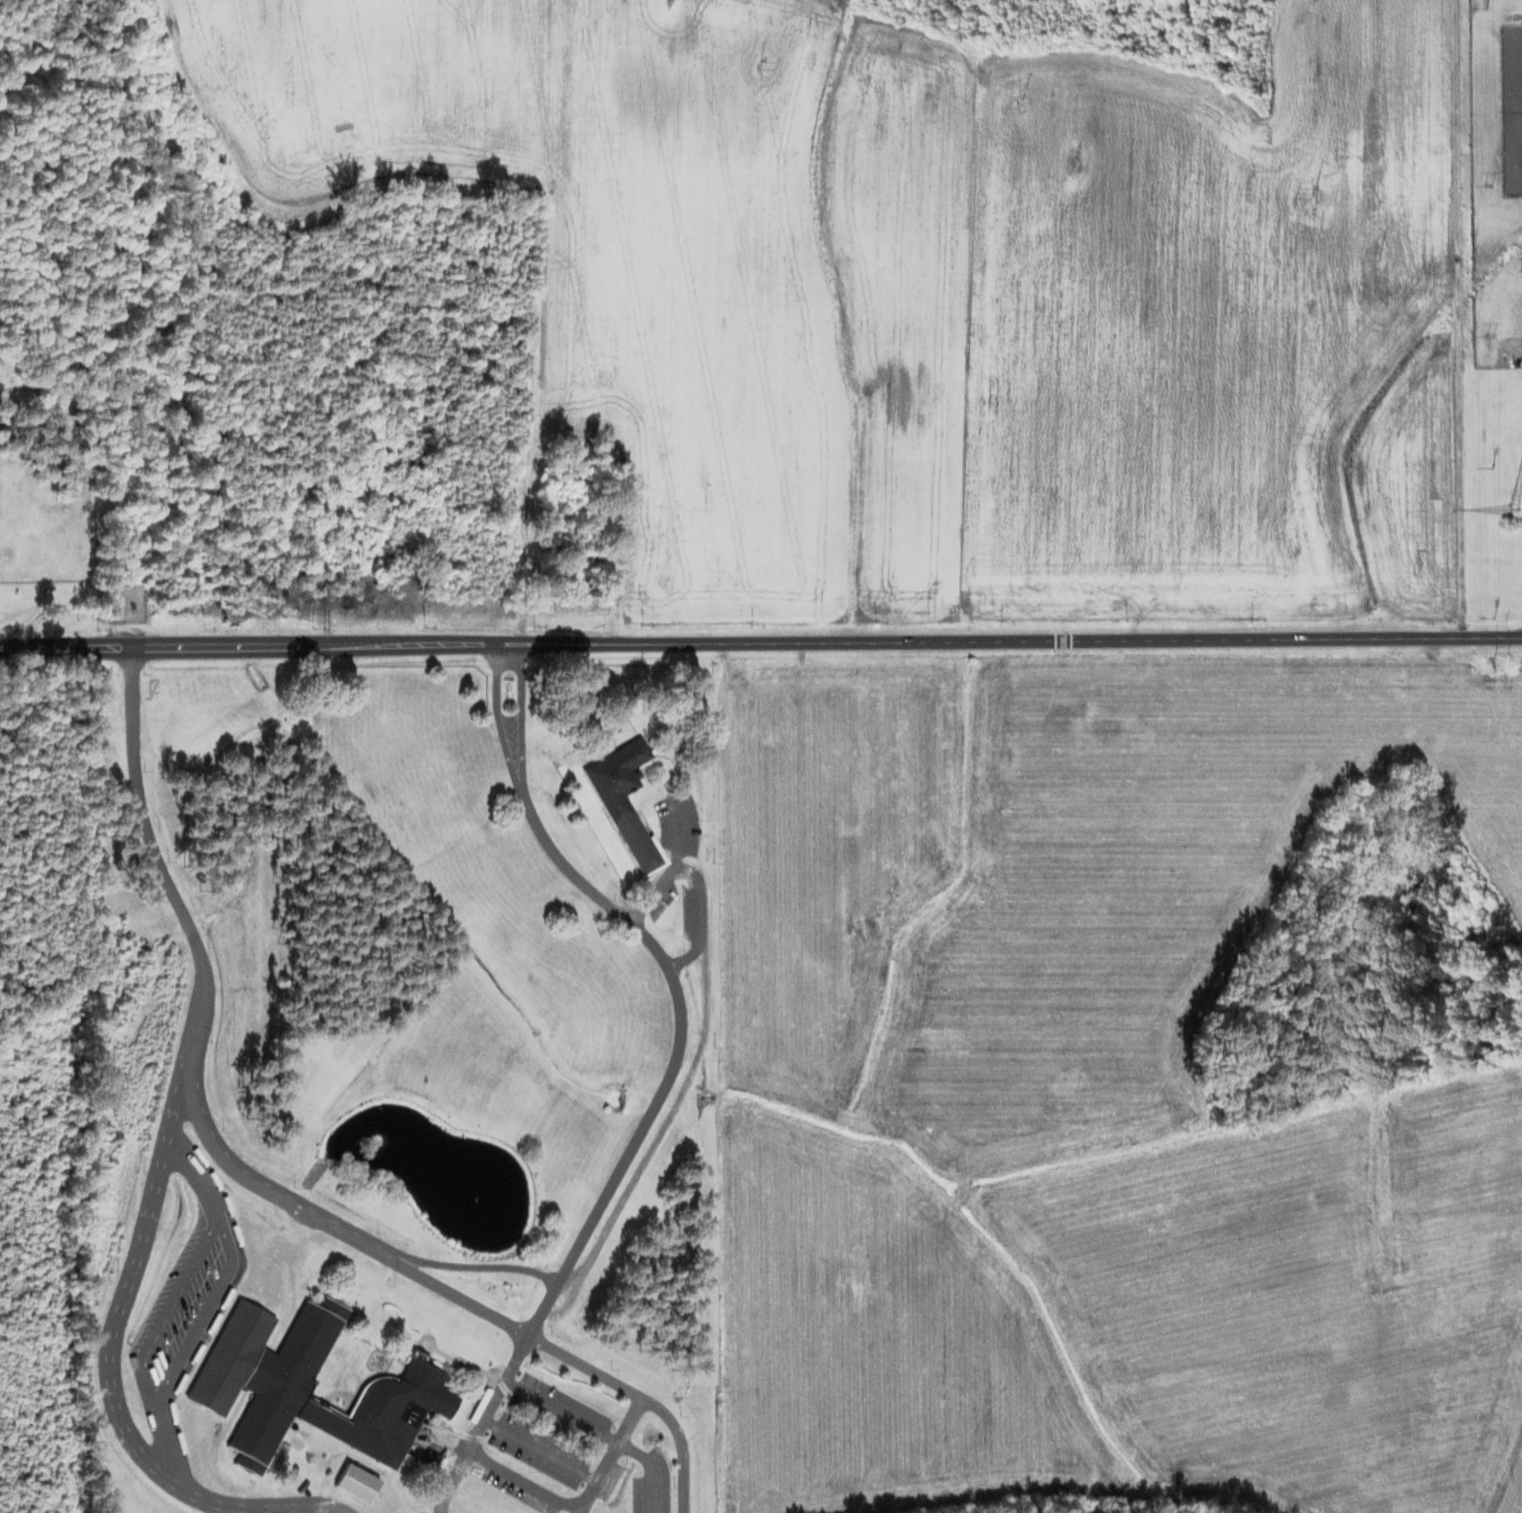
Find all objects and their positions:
power tower: (1020, 100)
power substation: (1509, 108)
power tower: (1314, 192)
building: (574, 545)
road: (1455, 641)
road: (694, 642)
building: (614, 777)
road: (597, 1204)
building: (401, 1382)
road: (1510, 1478)

